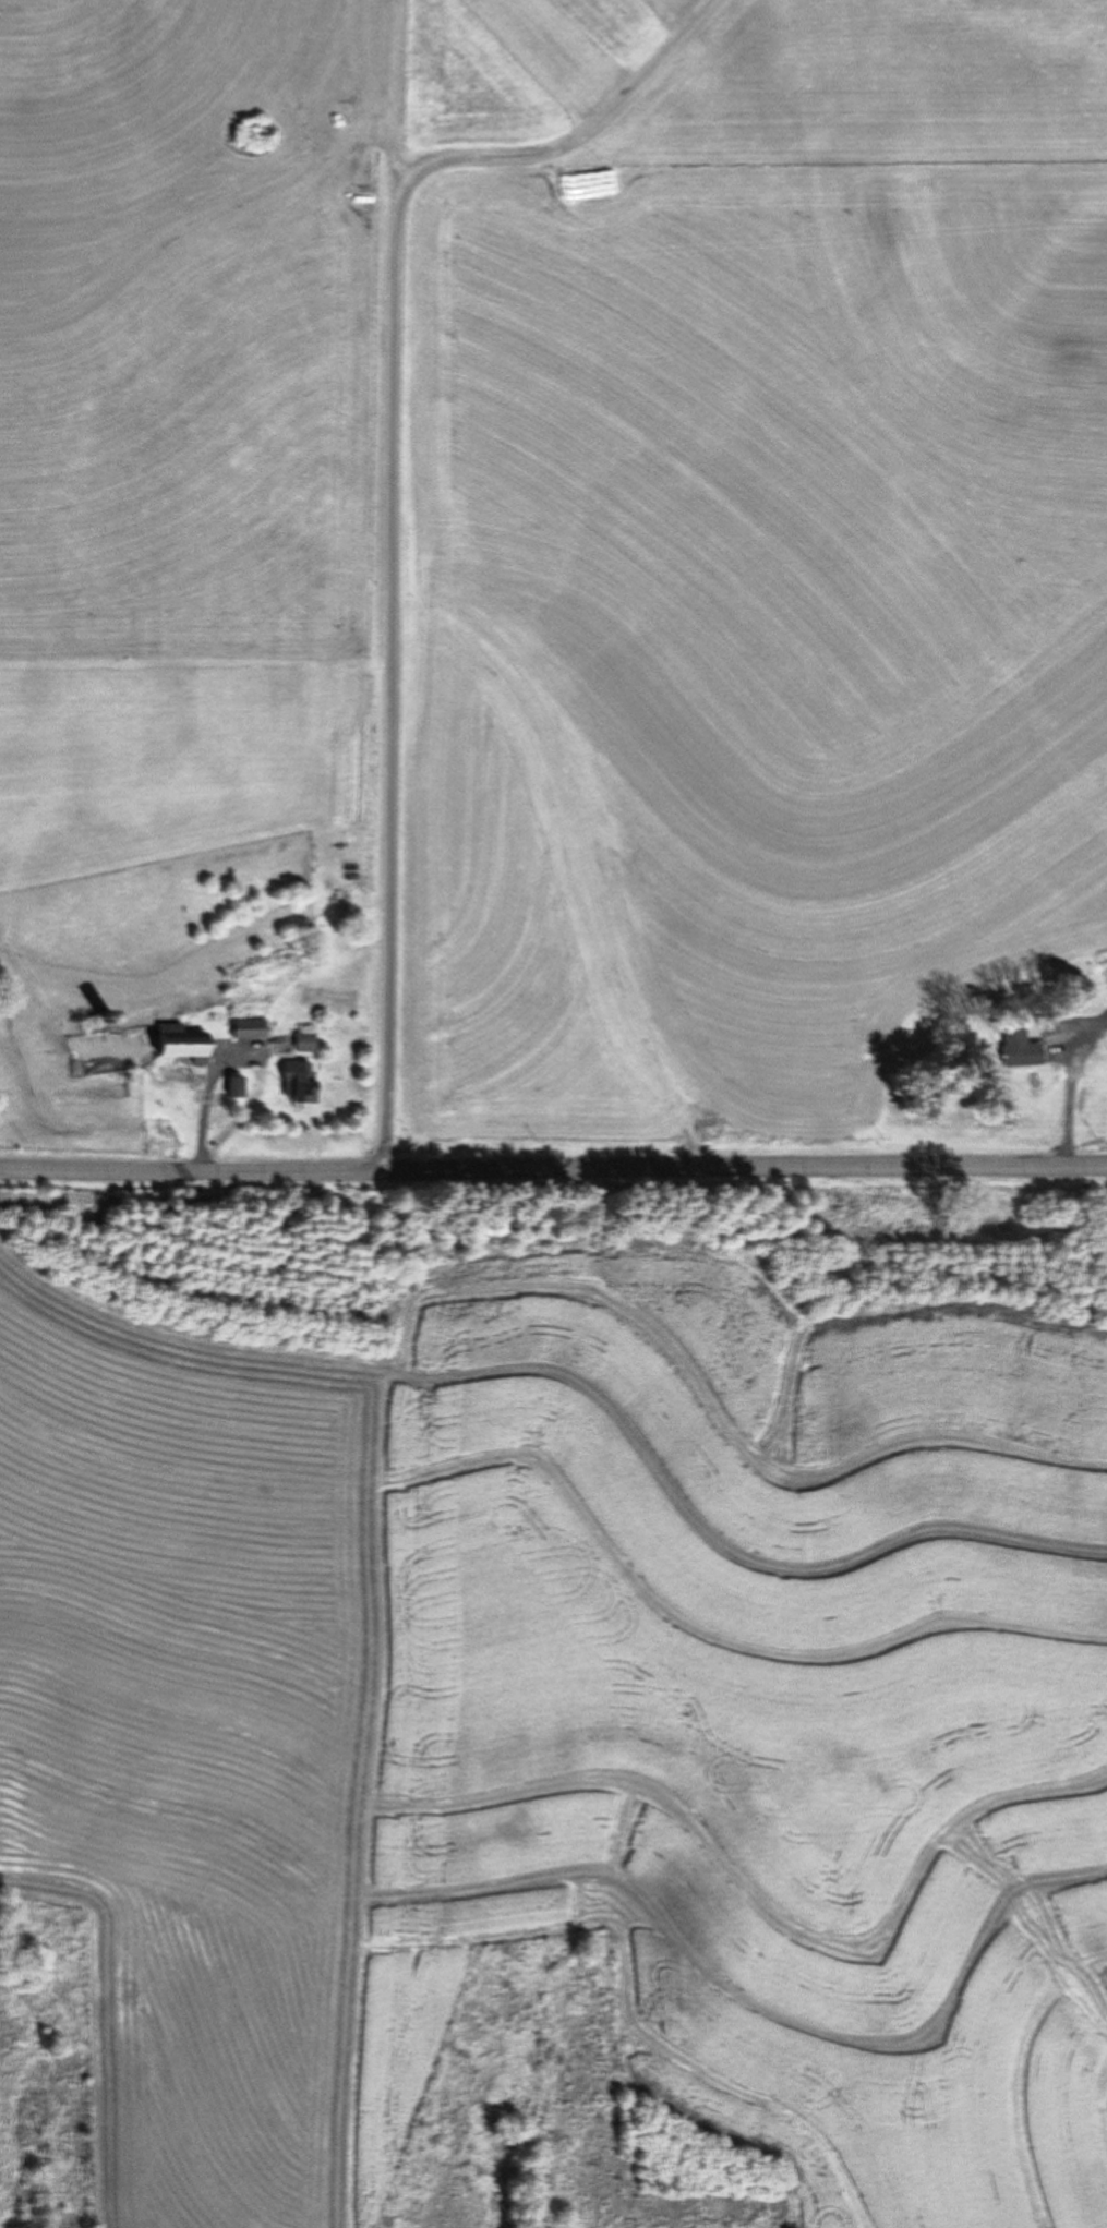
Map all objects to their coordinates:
road: (586, 134)
road: (393, 674)
building: (248, 1027)
building: (303, 1041)
building: (181, 1044)
building: (1021, 1047)
building: (297, 1081)
road: (1073, 1089)
road: (553, 1169)

